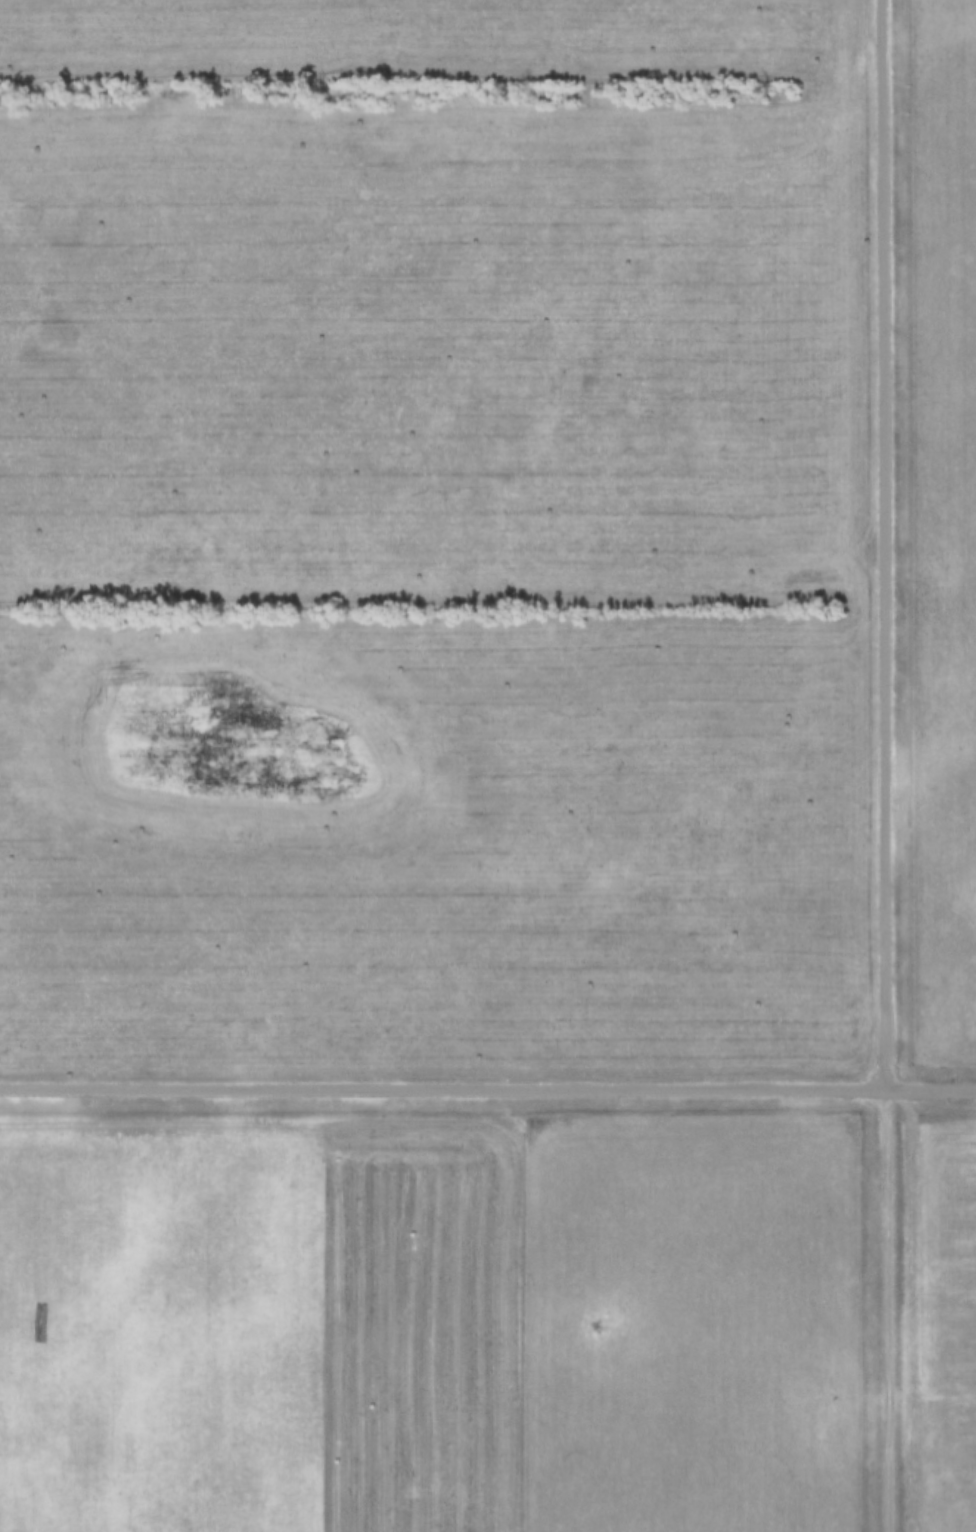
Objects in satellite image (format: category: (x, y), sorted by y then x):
road: (883, 546)
road: (488, 1090)
road: (887, 1311)

